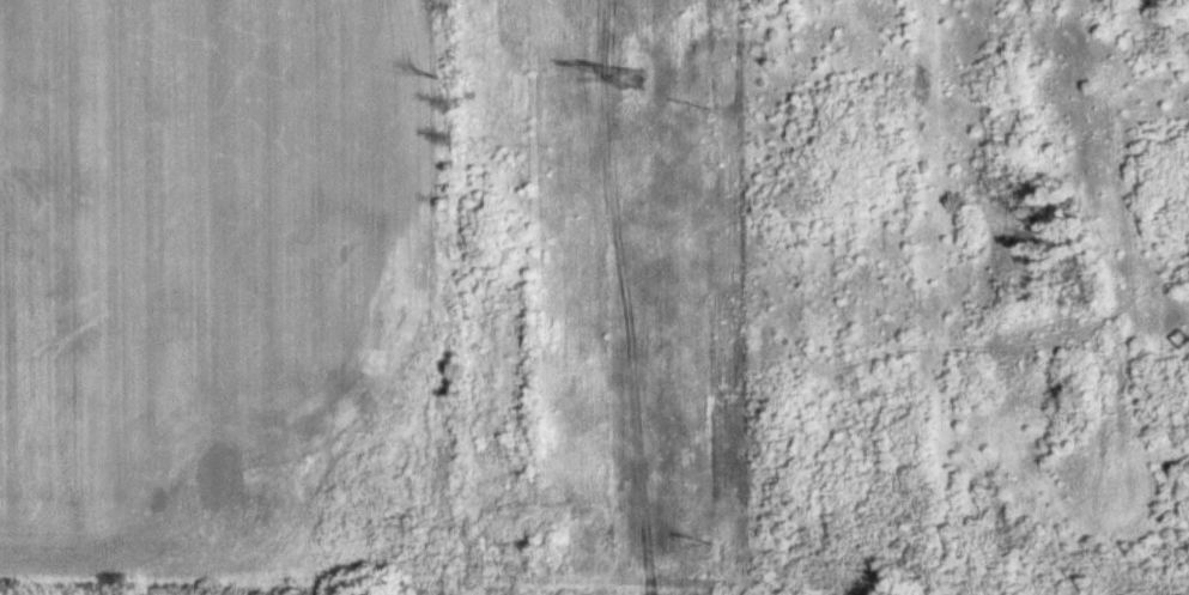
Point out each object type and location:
power tower: (632, 75)

